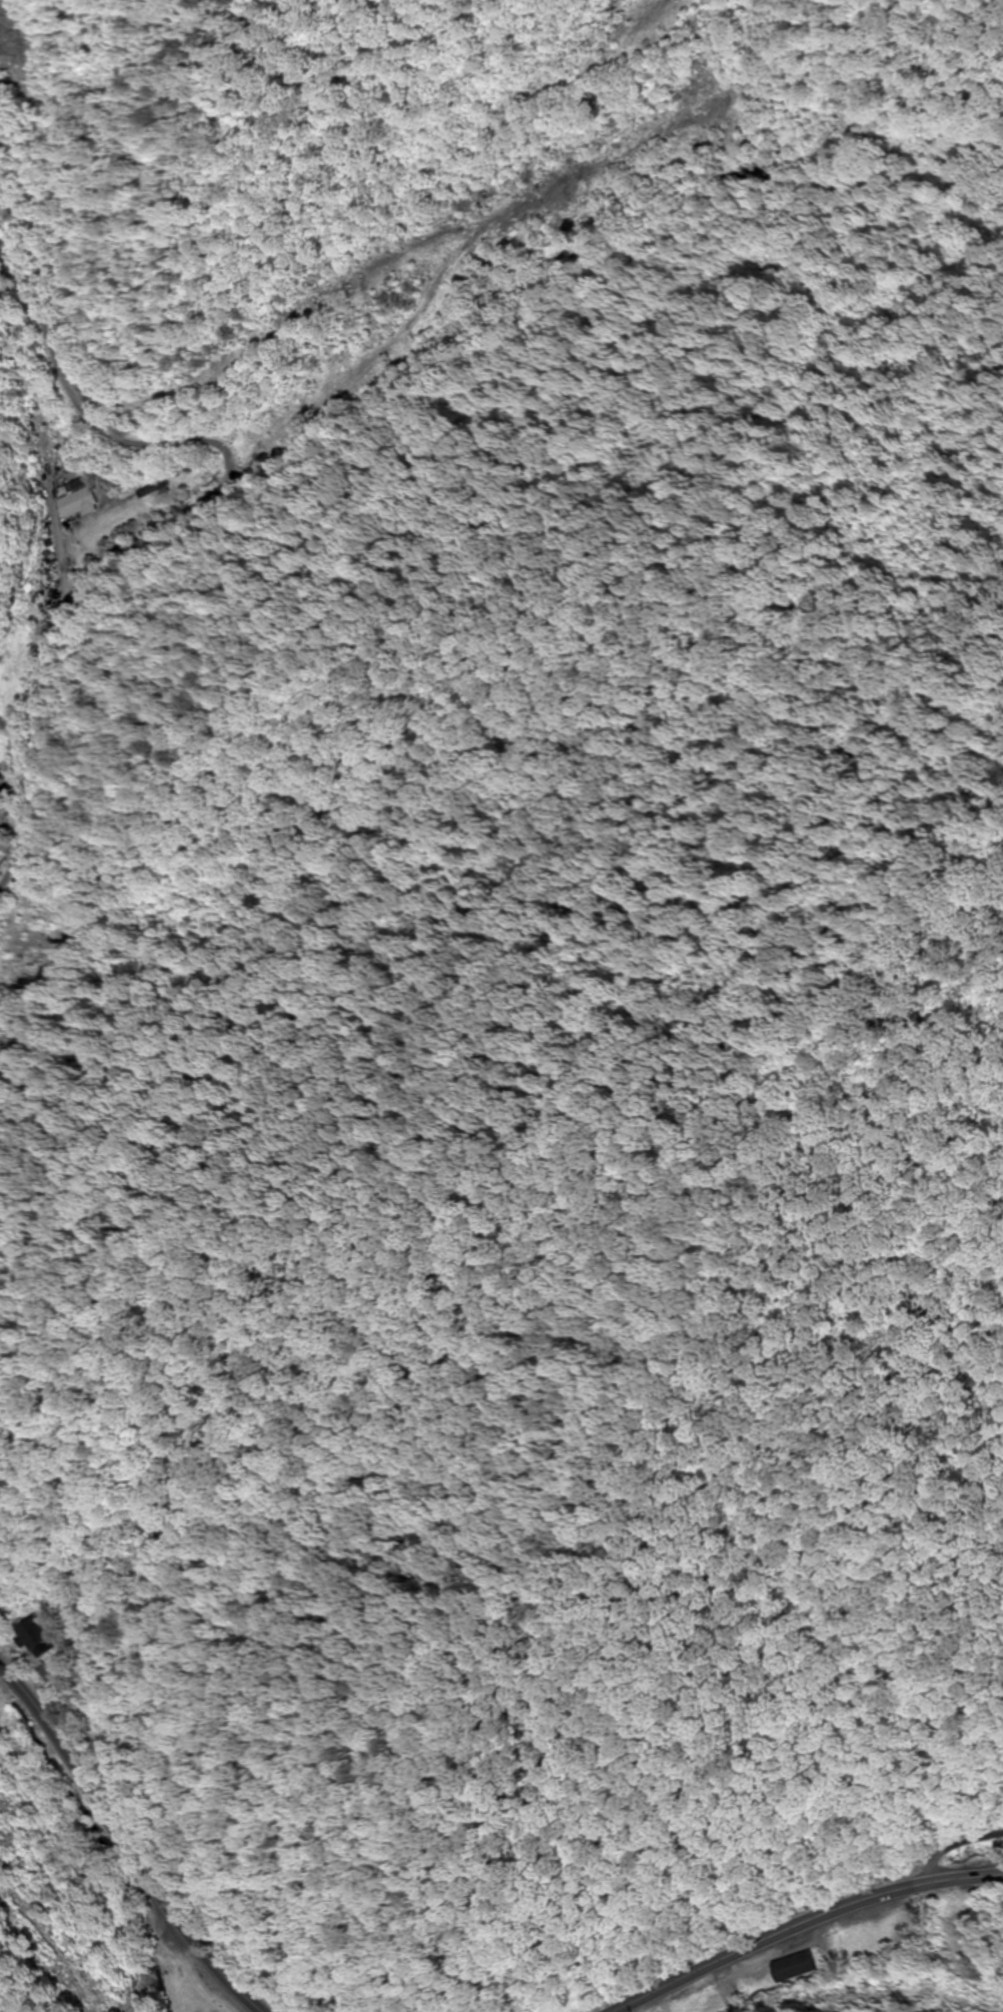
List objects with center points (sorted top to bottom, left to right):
road: (204, 468)
building: (79, 498)
building: (31, 950)
building: (41, 1638)
road: (955, 1845)
road: (124, 1852)
road: (801, 1923)
building: (798, 1968)
building: (712, 2006)

